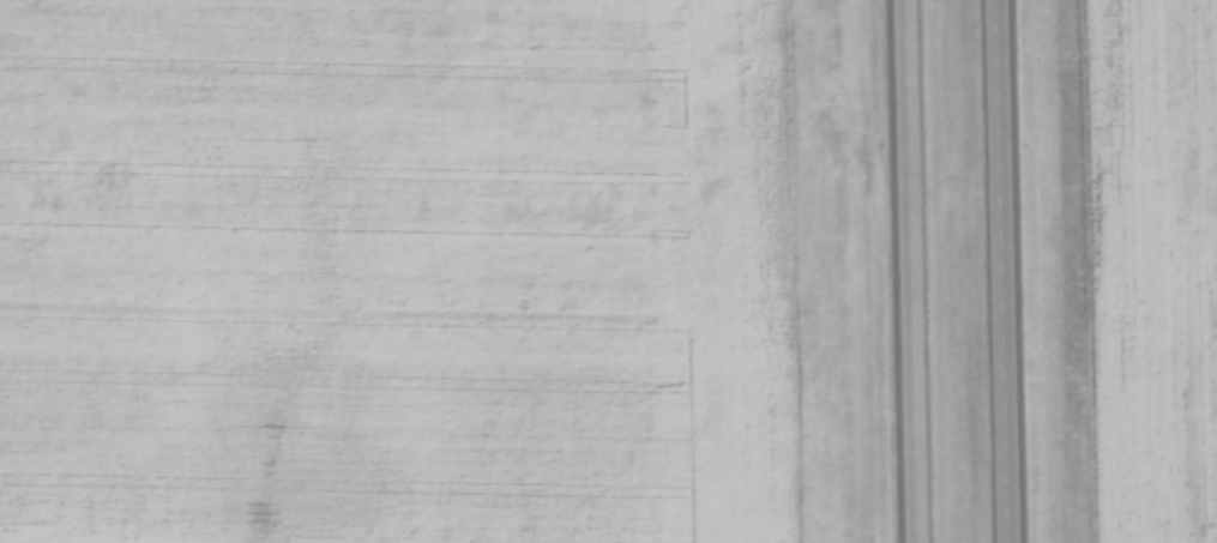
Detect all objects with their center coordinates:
road: (920, 271)
road: (1019, 271)

